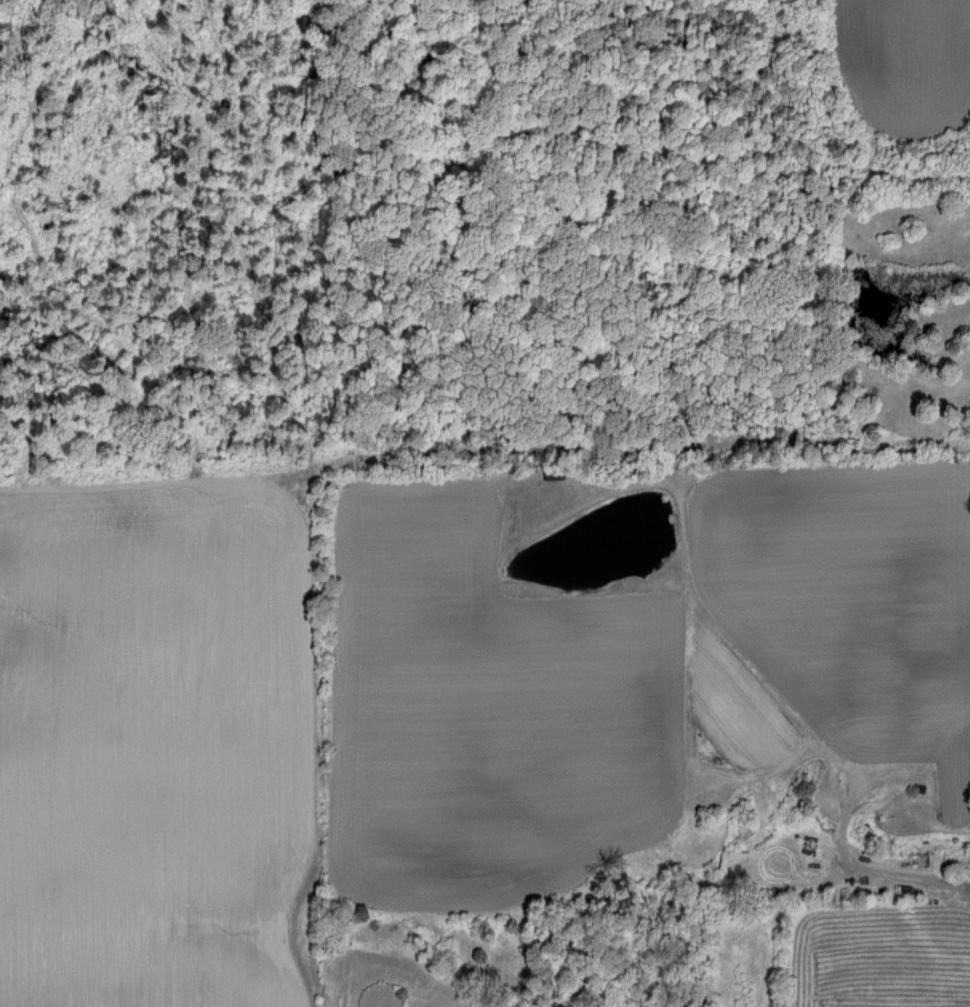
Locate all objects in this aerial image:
road: (887, 870)

